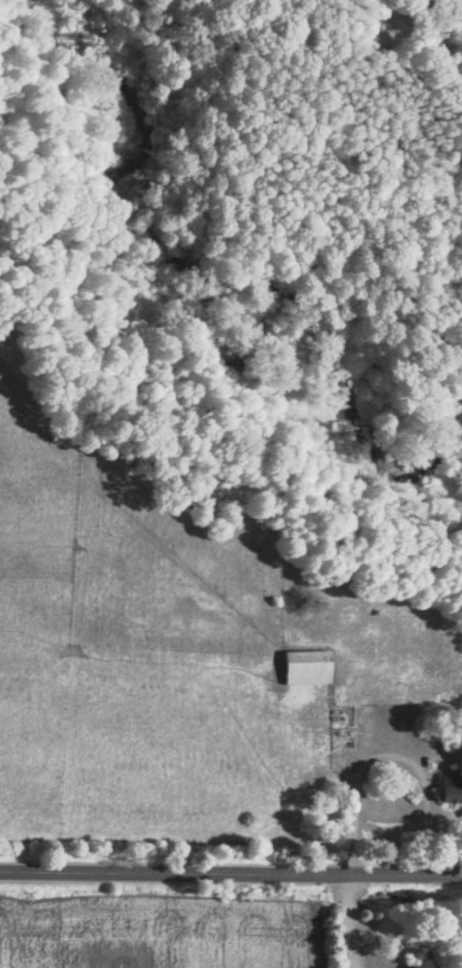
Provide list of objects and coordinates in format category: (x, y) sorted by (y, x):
building: (306, 669)
building: (450, 791)
road: (231, 872)
road: (349, 922)

